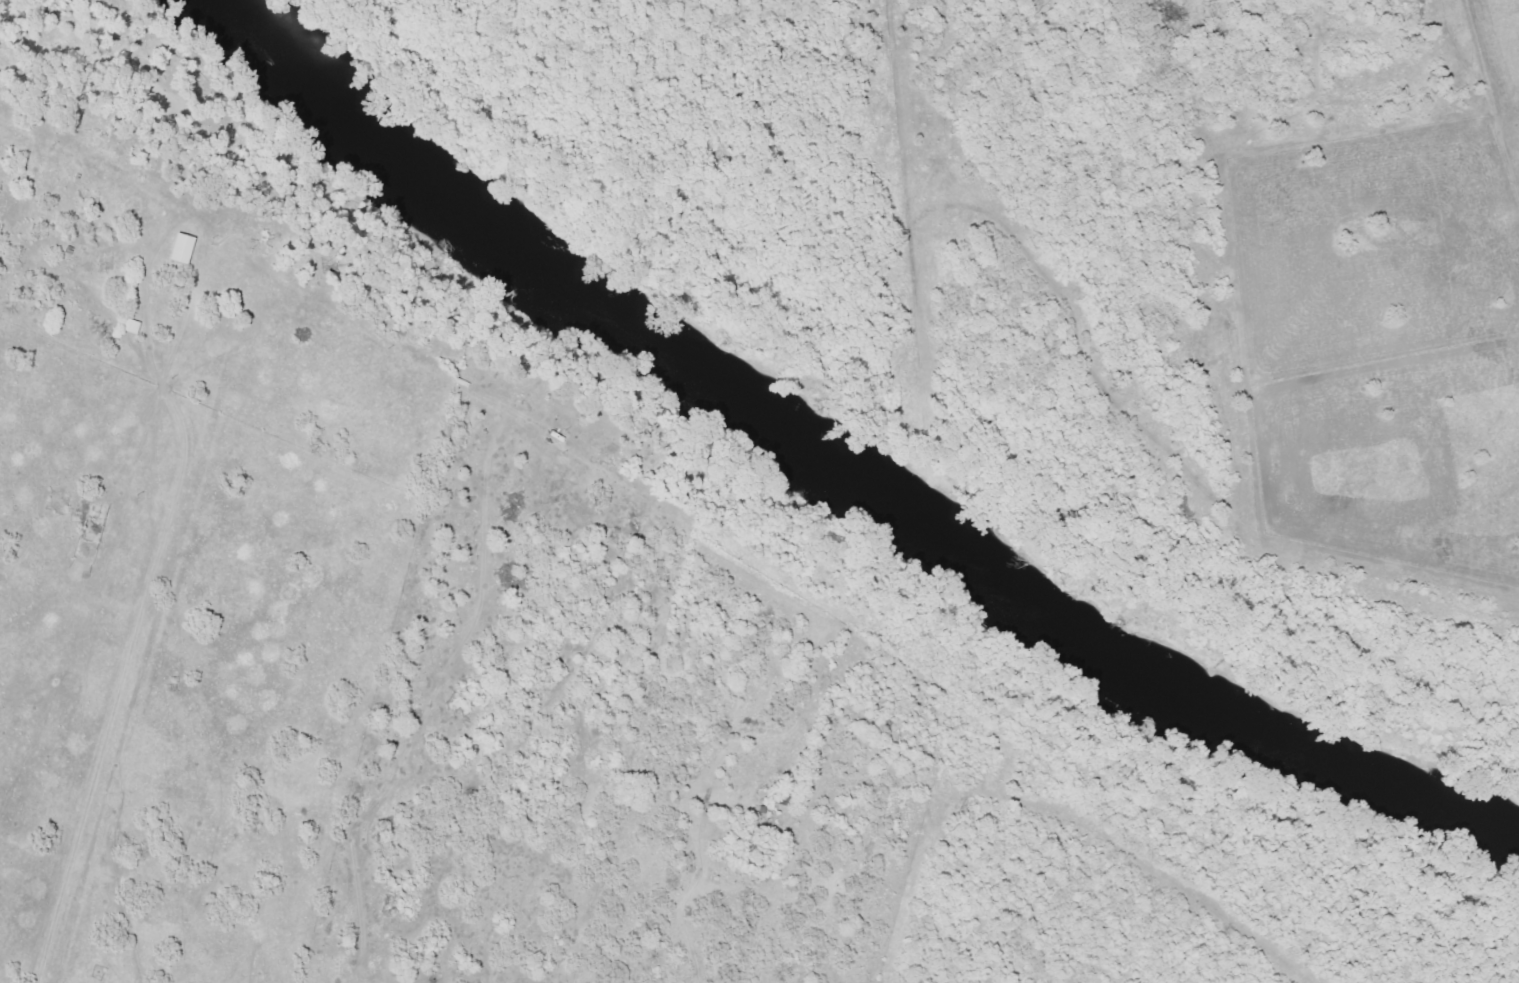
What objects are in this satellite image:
building: (180, 247)
building: (129, 325)
road: (1232, 384)
river: (837, 470)
road: (682, 529)

